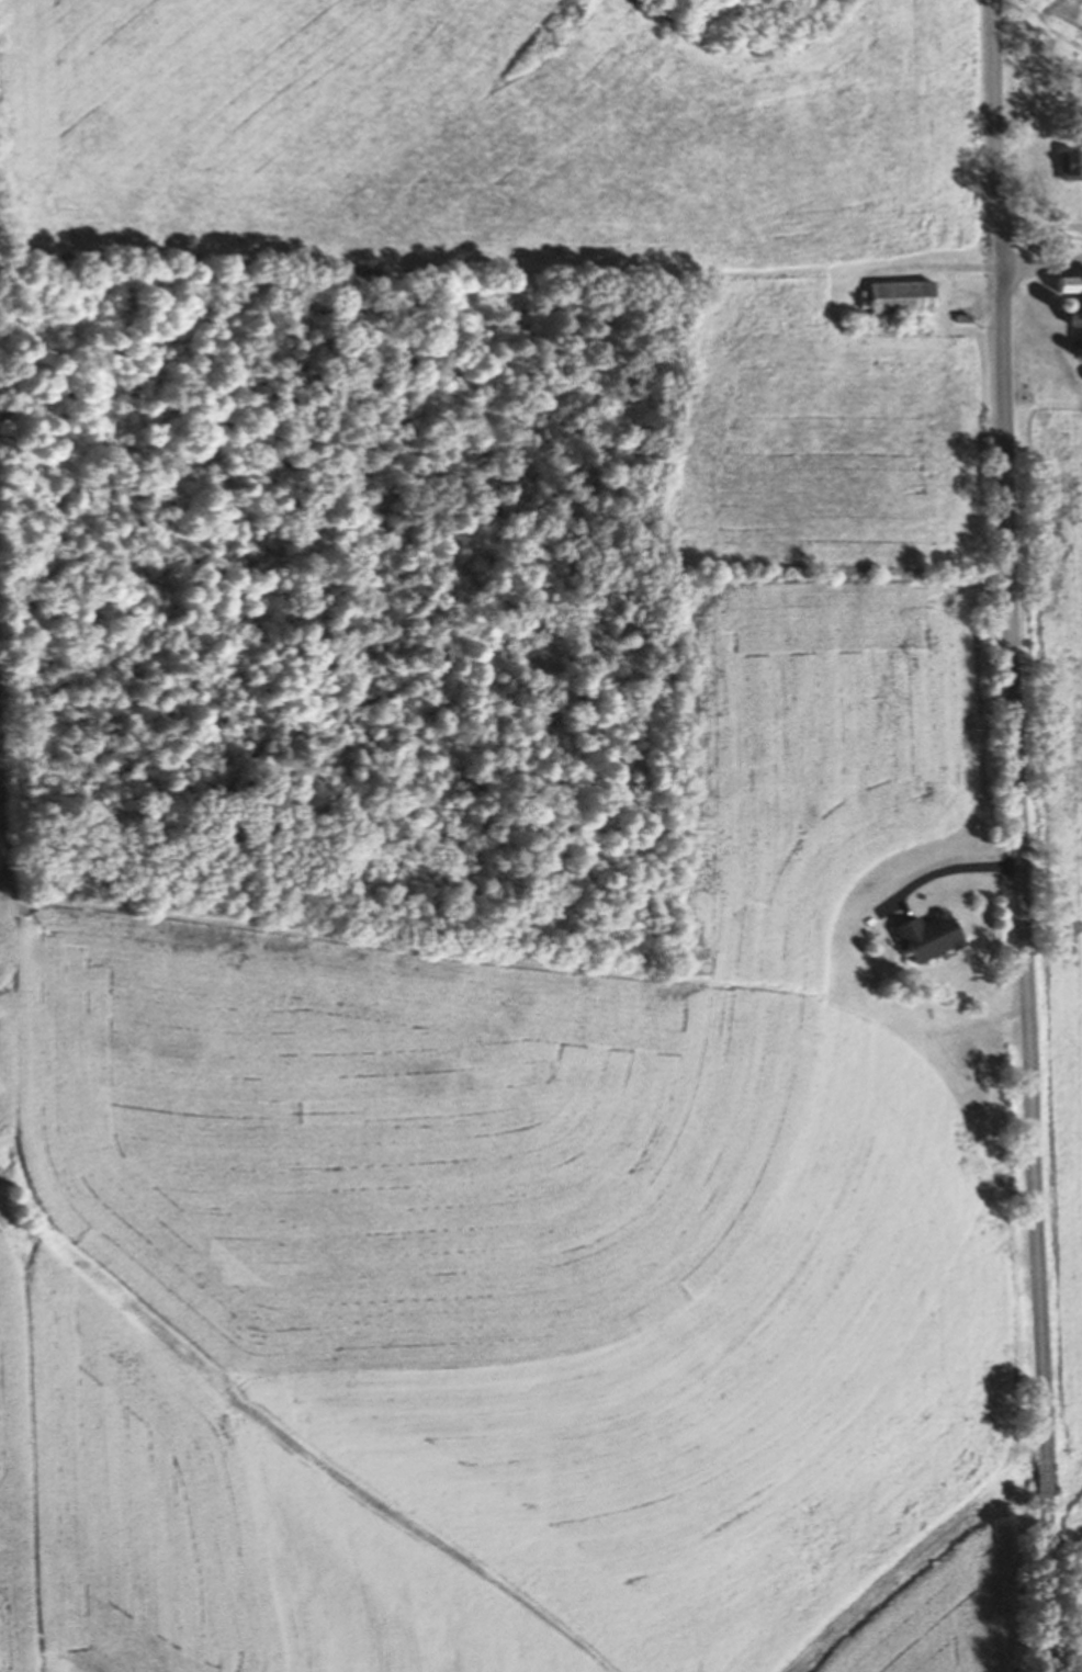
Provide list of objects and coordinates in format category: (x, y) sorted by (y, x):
building: (1069, 163)
road: (1040, 266)
building: (900, 295)
building: (1070, 309)
building: (962, 317)
road: (1016, 836)
road: (945, 868)
building: (924, 935)

